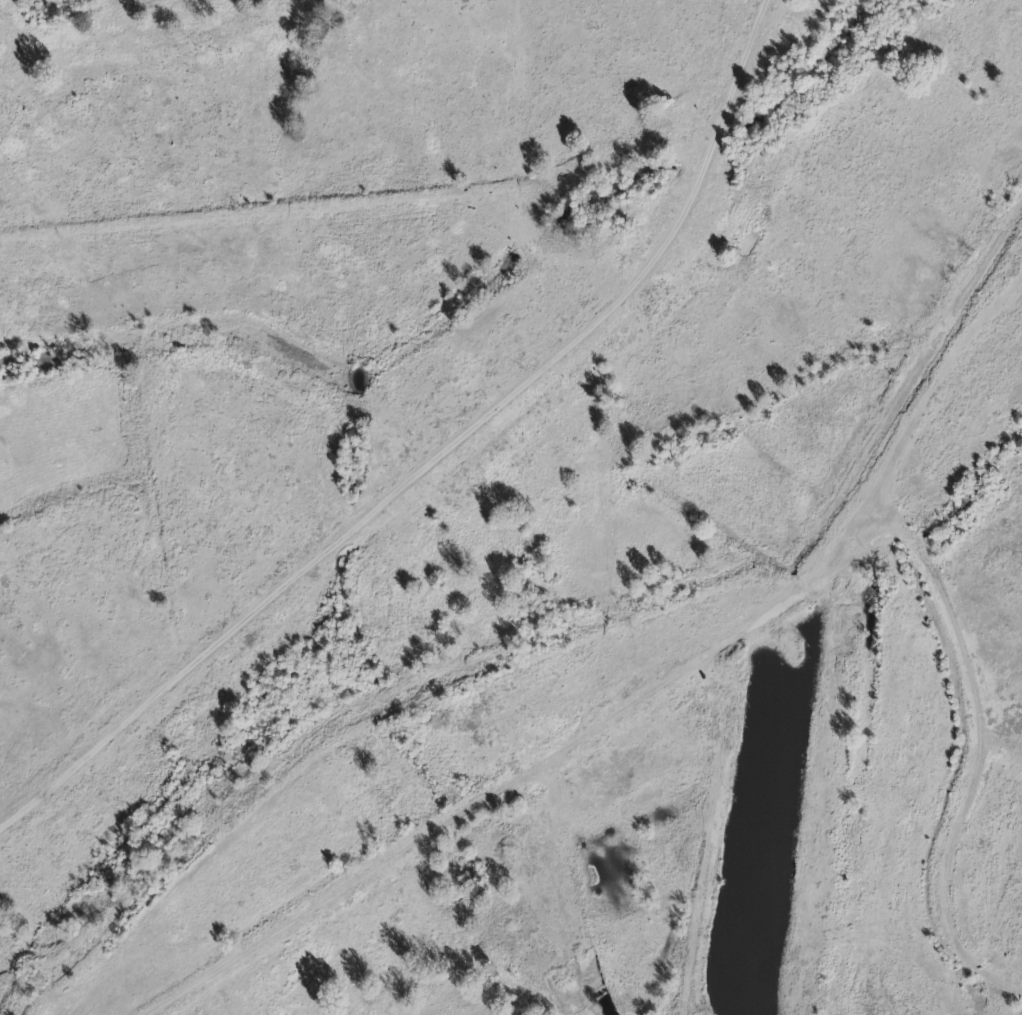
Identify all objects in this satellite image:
road: (438, 456)
road: (586, 727)

